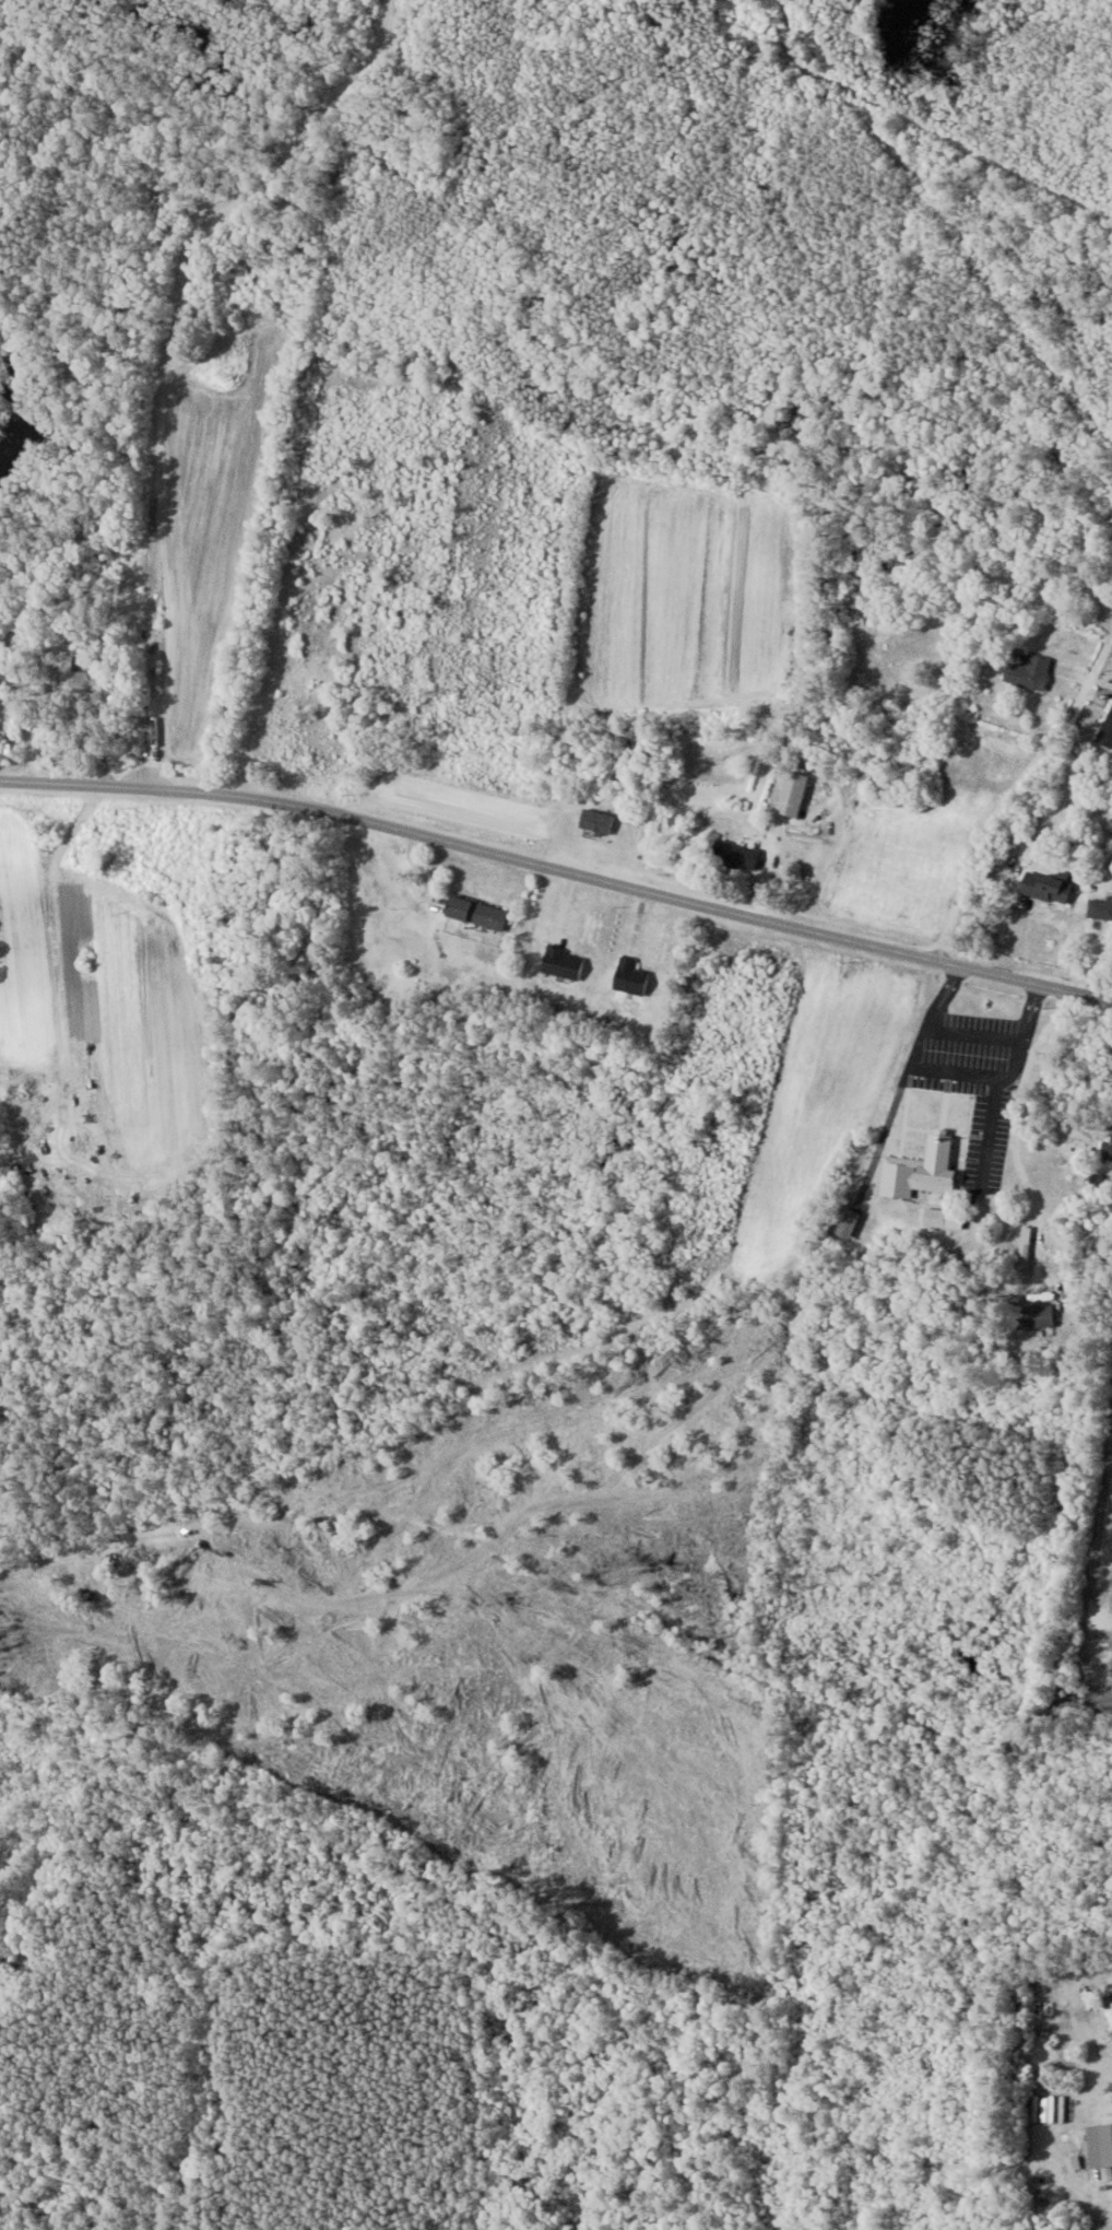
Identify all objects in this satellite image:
building: (247, 285)
building: (1030, 672)
building: (71, 676)
building: (1107, 731)
building: (794, 794)
road: (1027, 798)
building: (1111, 823)
building: (737, 855)
road: (559, 867)
building: (1048, 887)
building: (1101, 908)
building: (477, 913)
building: (564, 963)
building: (631, 977)
road: (1005, 1132)
building: (1107, 1149)
building: (920, 1170)
building: (936, 1218)
building: (849, 1224)
building: (1025, 1249)
building: (1037, 1316)
building: (1109, 1996)
building: (1100, 2145)

